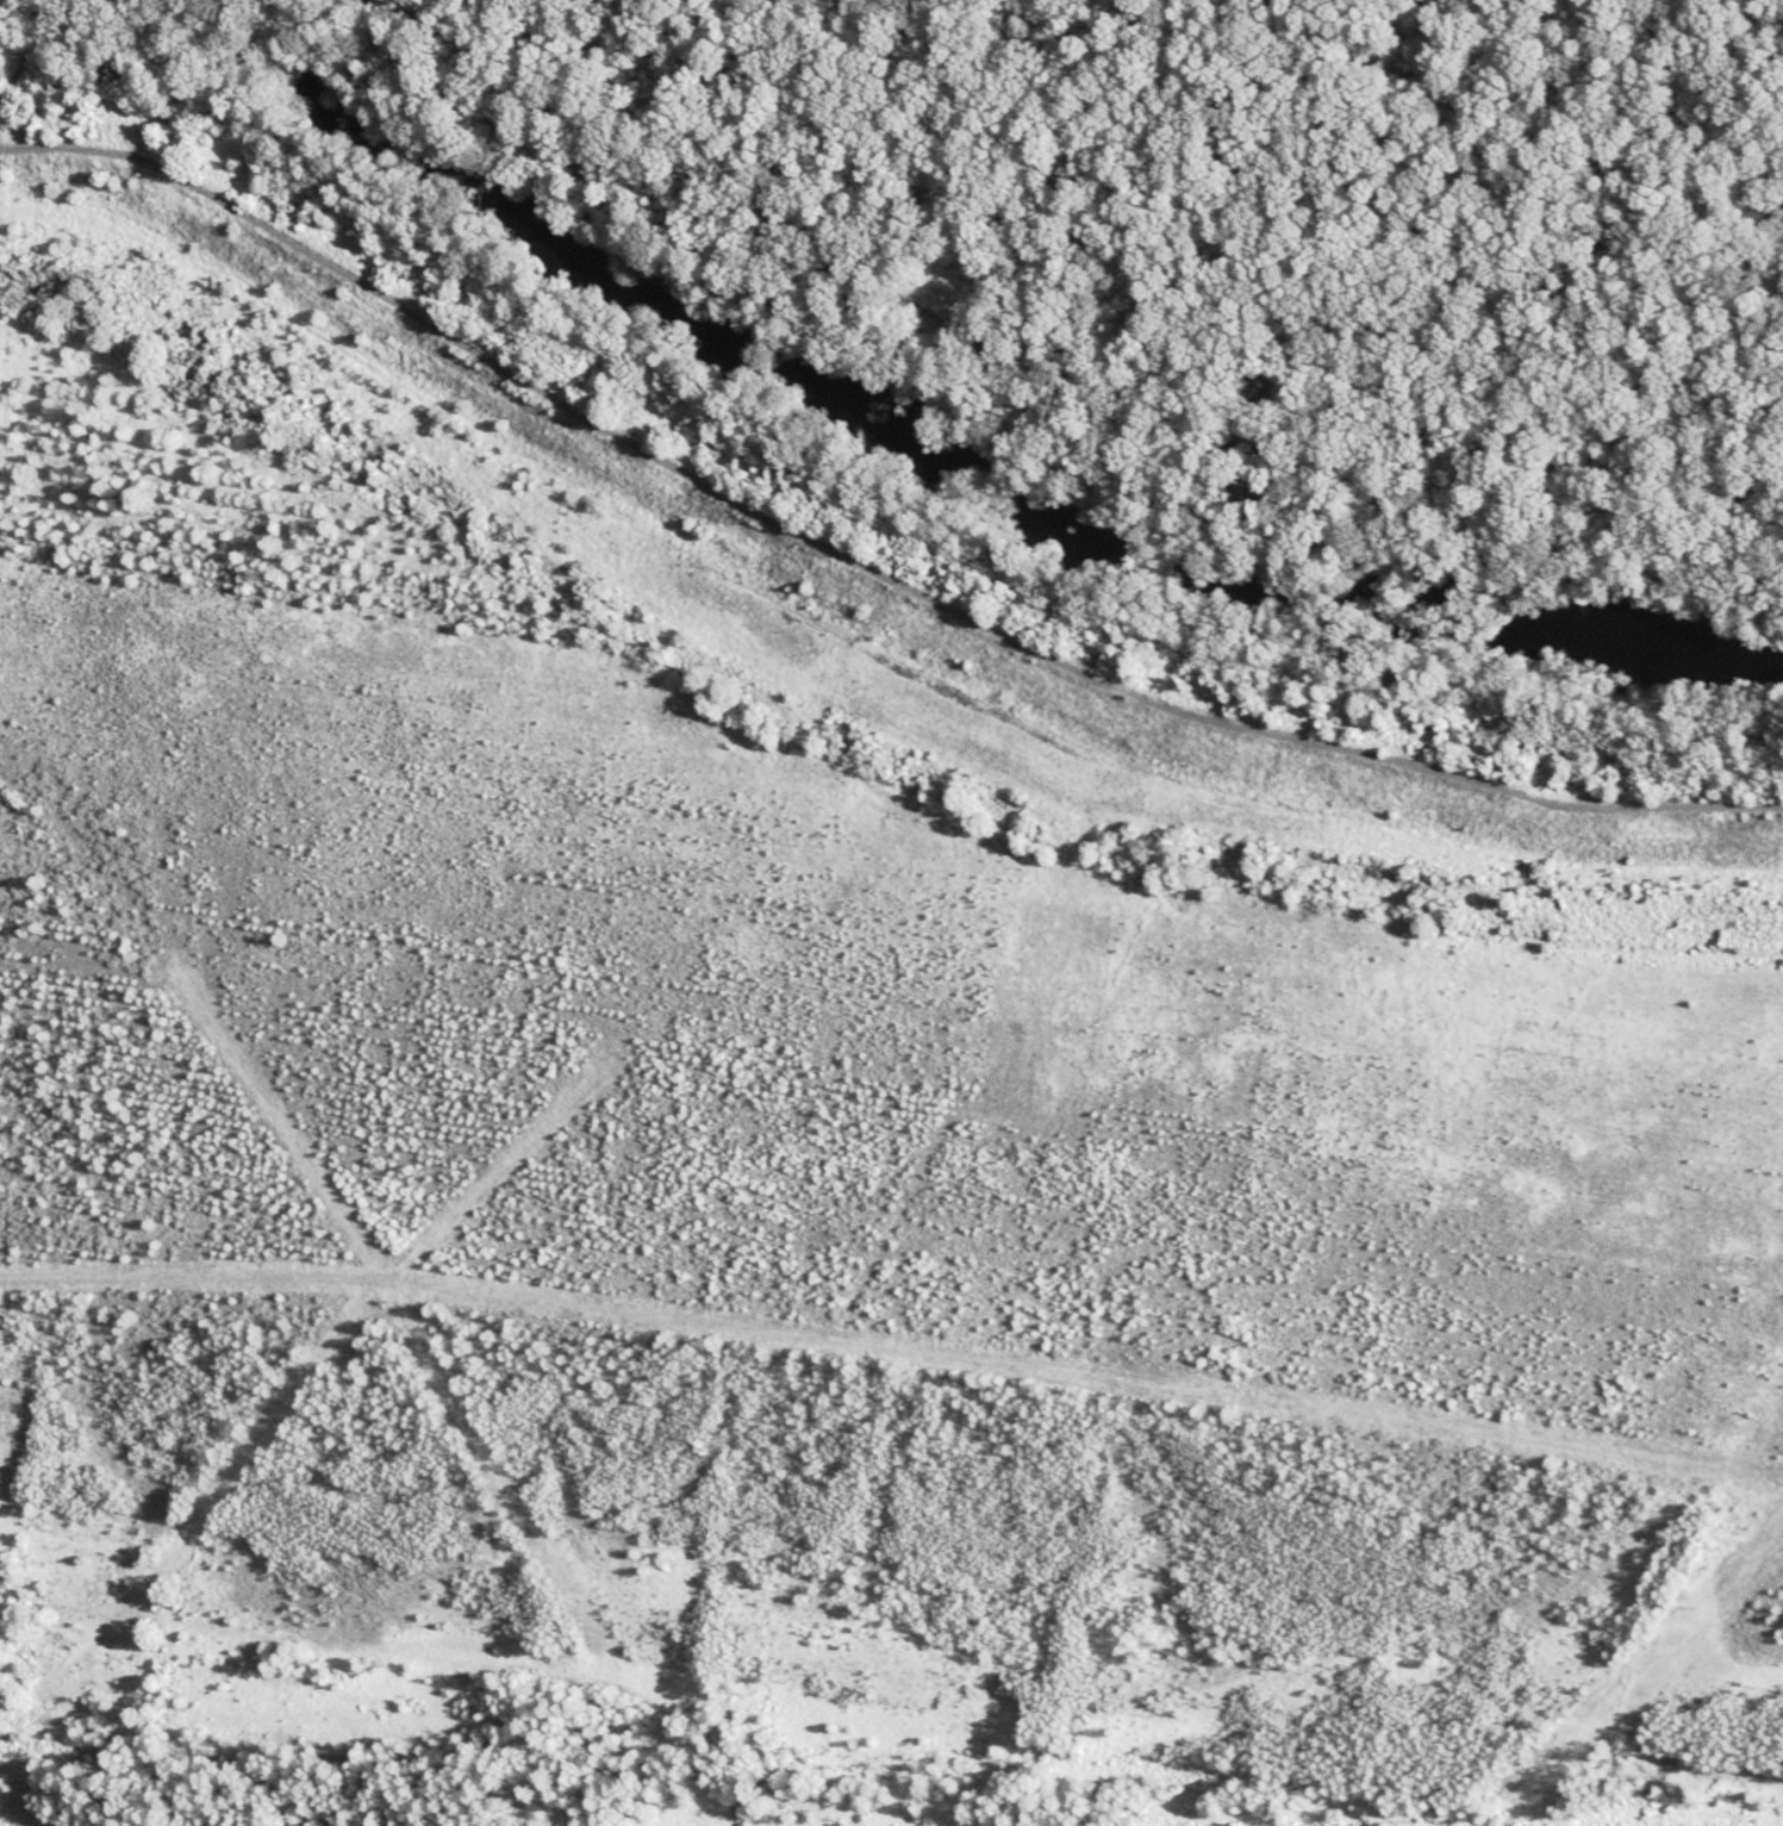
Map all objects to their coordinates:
road: (864, 556)
road: (978, 1221)

